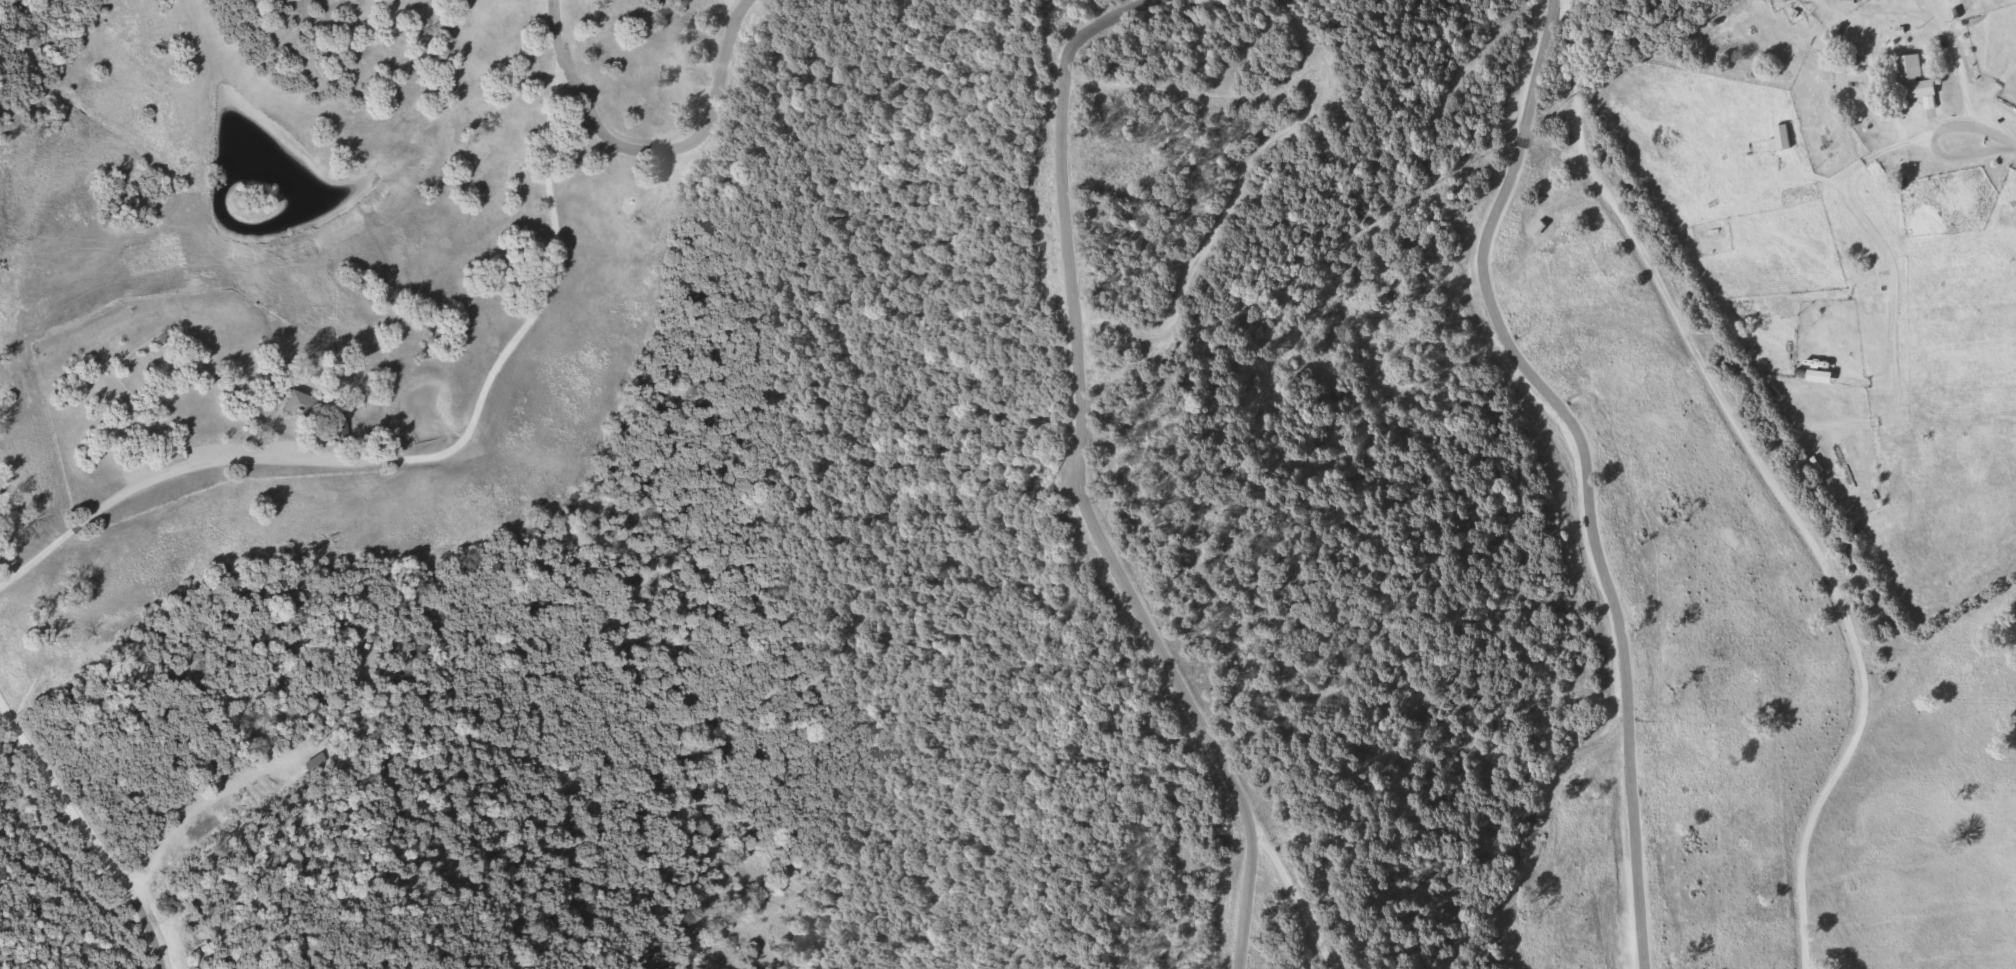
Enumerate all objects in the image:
road: (1536, 60)
road: (1574, 77)
building: (1916, 80)
building: (1784, 138)
road: (1993, 143)
road: (1509, 191)
road: (1878, 230)
road: (1627, 233)
road: (1115, 323)
building: (1820, 360)
building: (299, 404)
building: (129, 410)
building: (341, 428)
road: (446, 452)
road: (1584, 453)
building: (1845, 465)
road: (1856, 652)
building: (319, 763)
road: (217, 801)
road: (89, 831)
road: (1637, 842)
road: (1469, 944)

